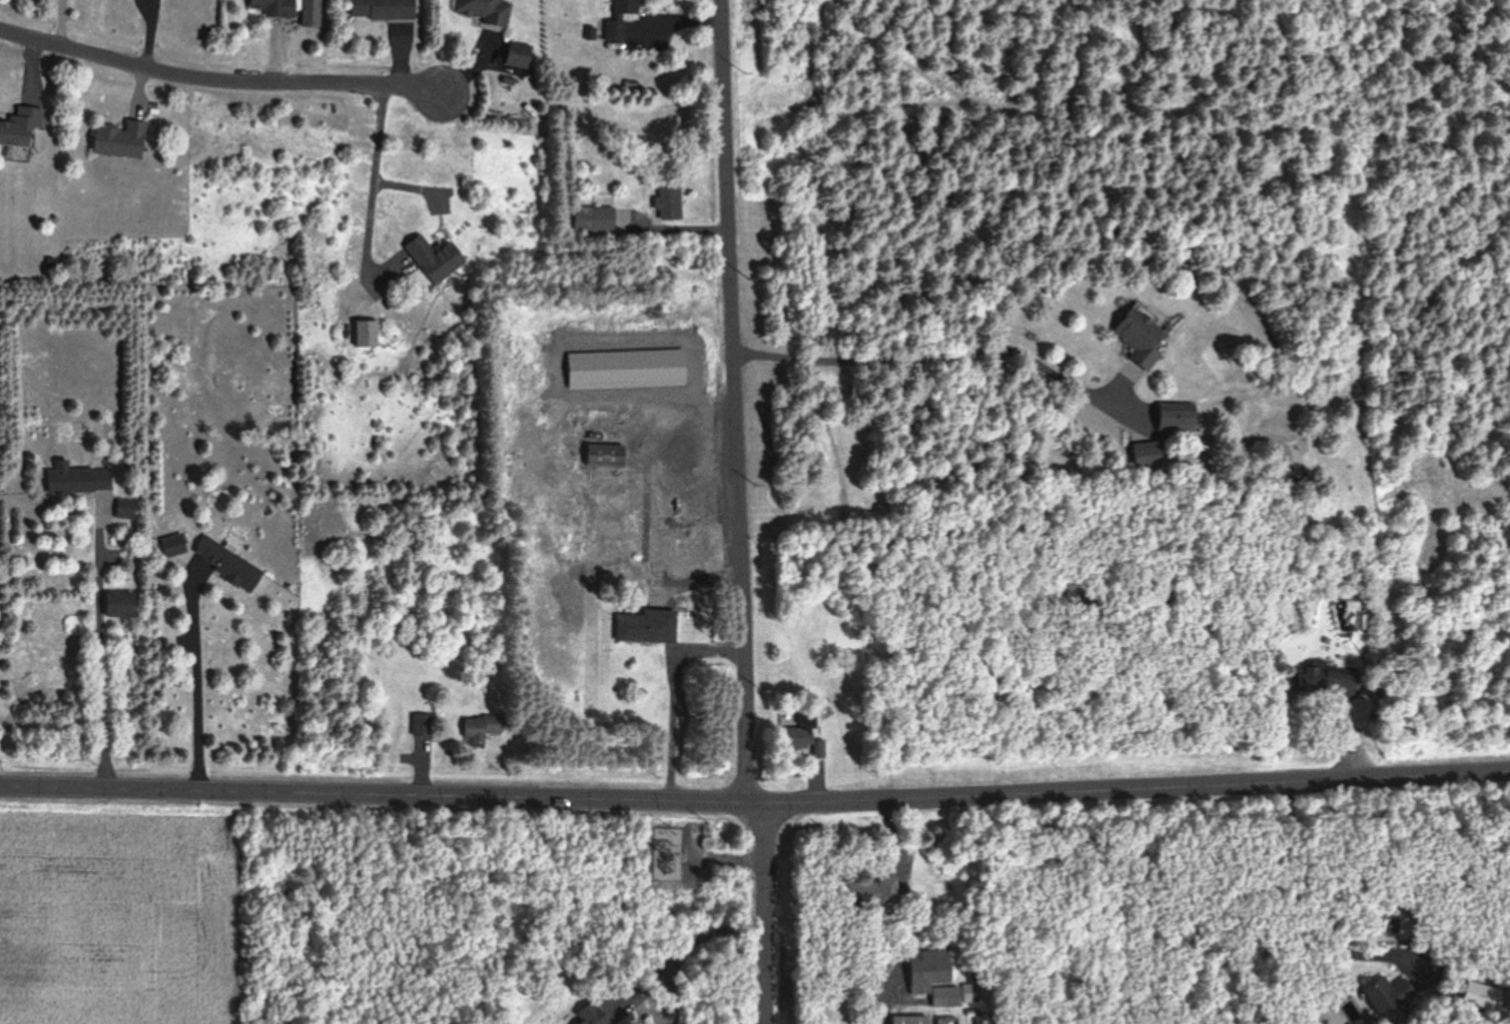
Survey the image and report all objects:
building: (270, 7)
building: (379, 9)
building: (617, 19)
road: (220, 82)
building: (19, 125)
building: (117, 138)
road: (372, 175)
building: (668, 199)
building: (592, 218)
building: (432, 257)
building: (359, 333)
building: (1135, 334)
road: (924, 361)
building: (1168, 419)
building: (601, 455)
building: (74, 479)
building: (122, 510)
road: (738, 513)
building: (668, 537)
building: (213, 560)
building: (117, 604)
building: (637, 625)
road: (99, 646)
road: (193, 674)
building: (1319, 682)
building: (417, 724)
building: (480, 727)
building: (796, 733)
road: (755, 804)
building: (871, 890)
crop: (133, 910)
road: (904, 913)
road: (690, 946)
building: (928, 975)
building: (1385, 994)
building: (1475, 994)
building: (587, 1014)
building: (906, 1019)

